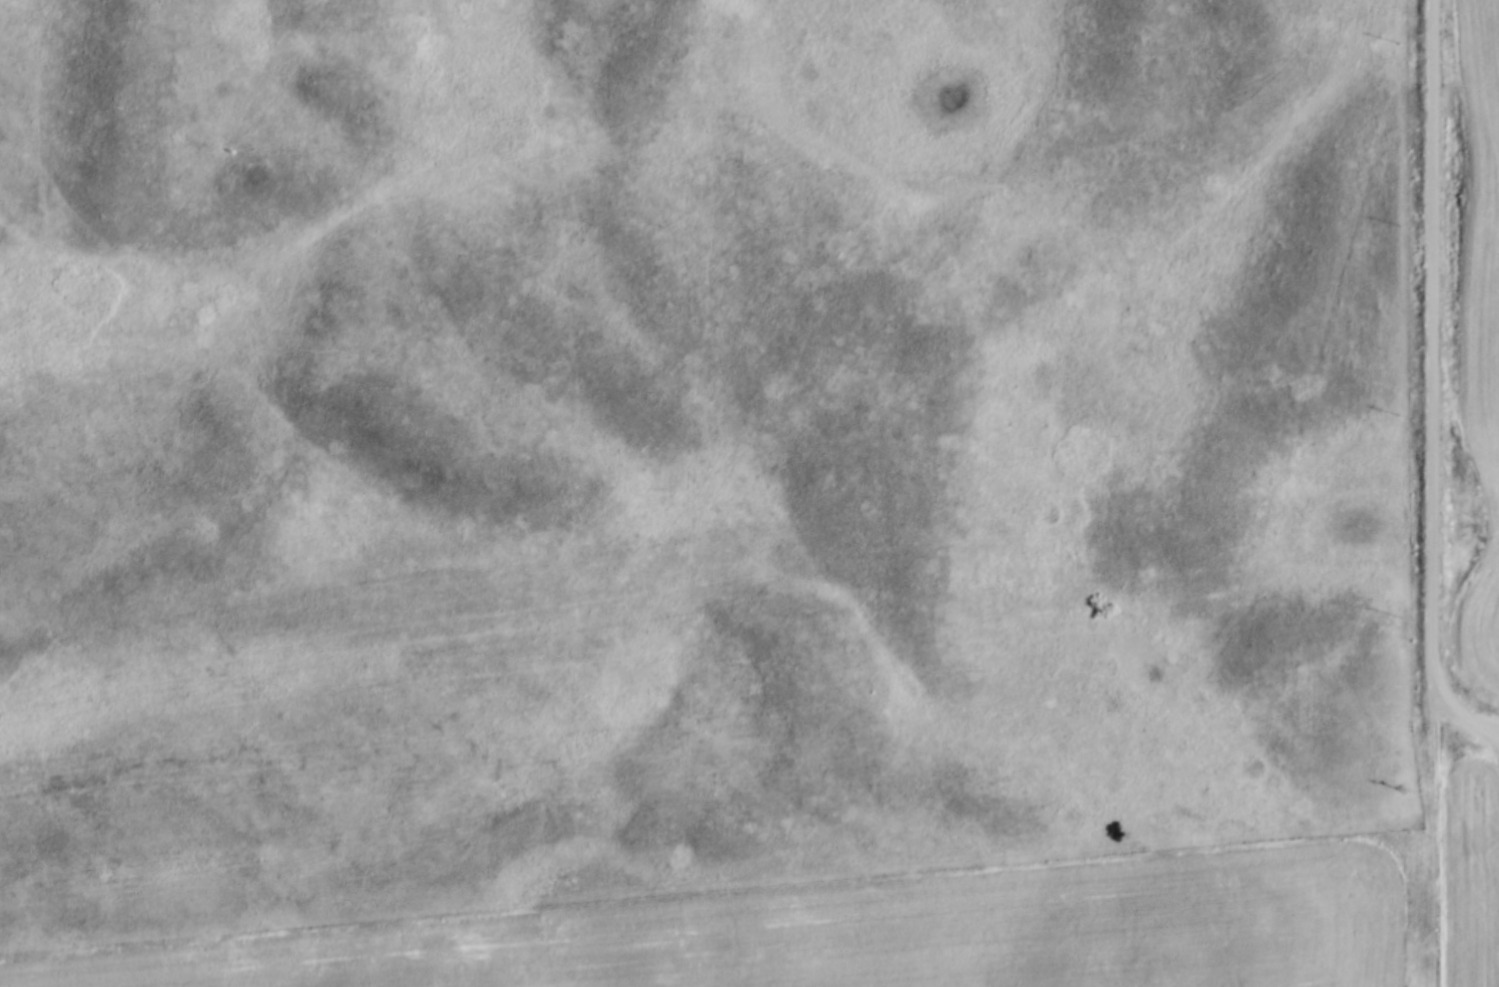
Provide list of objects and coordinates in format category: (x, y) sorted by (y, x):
road: (1482, 492)

